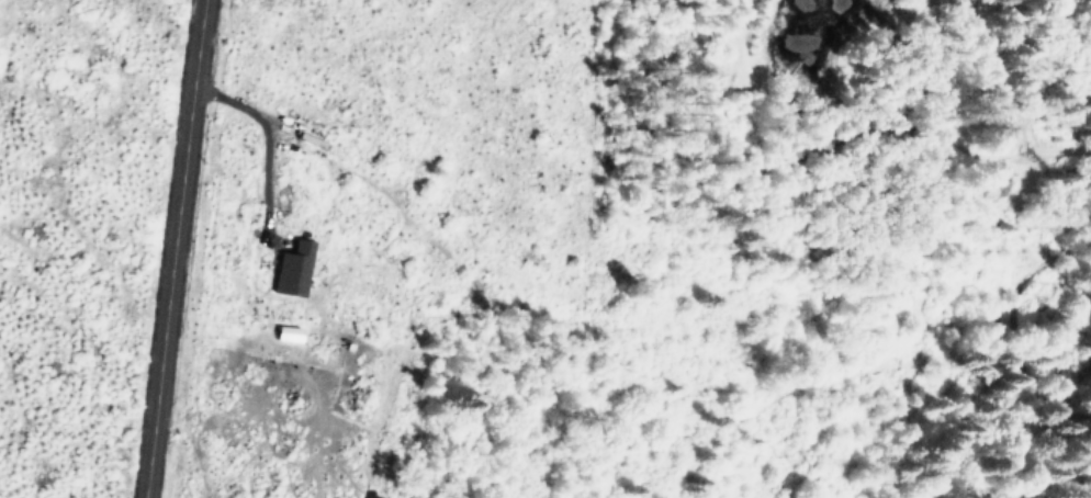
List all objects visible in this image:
road: (172, 249)
building: (290, 267)
building: (285, 331)

